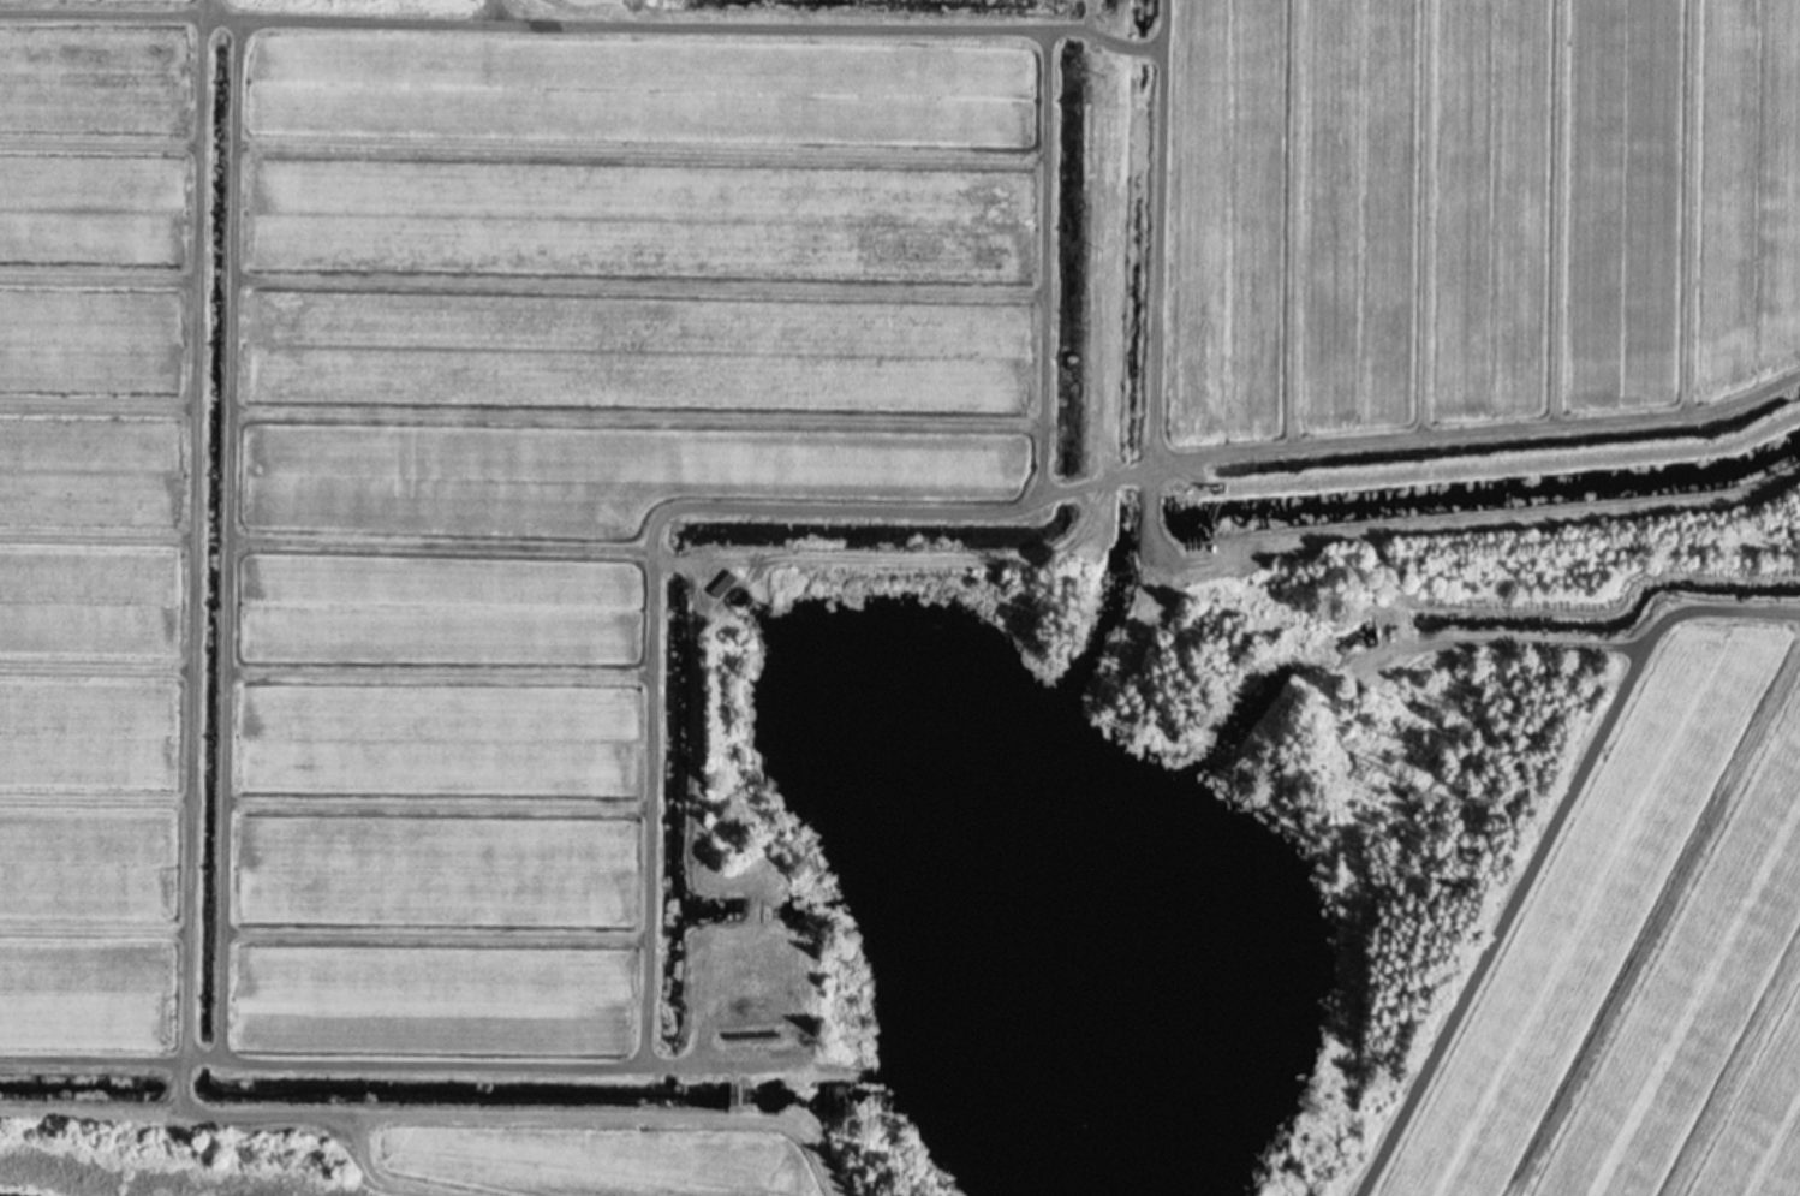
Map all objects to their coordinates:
crop: (847, 536)
building: (720, 584)
road: (1550, 880)
building: (768, 911)
building: (733, 1095)
building: (834, 1099)

